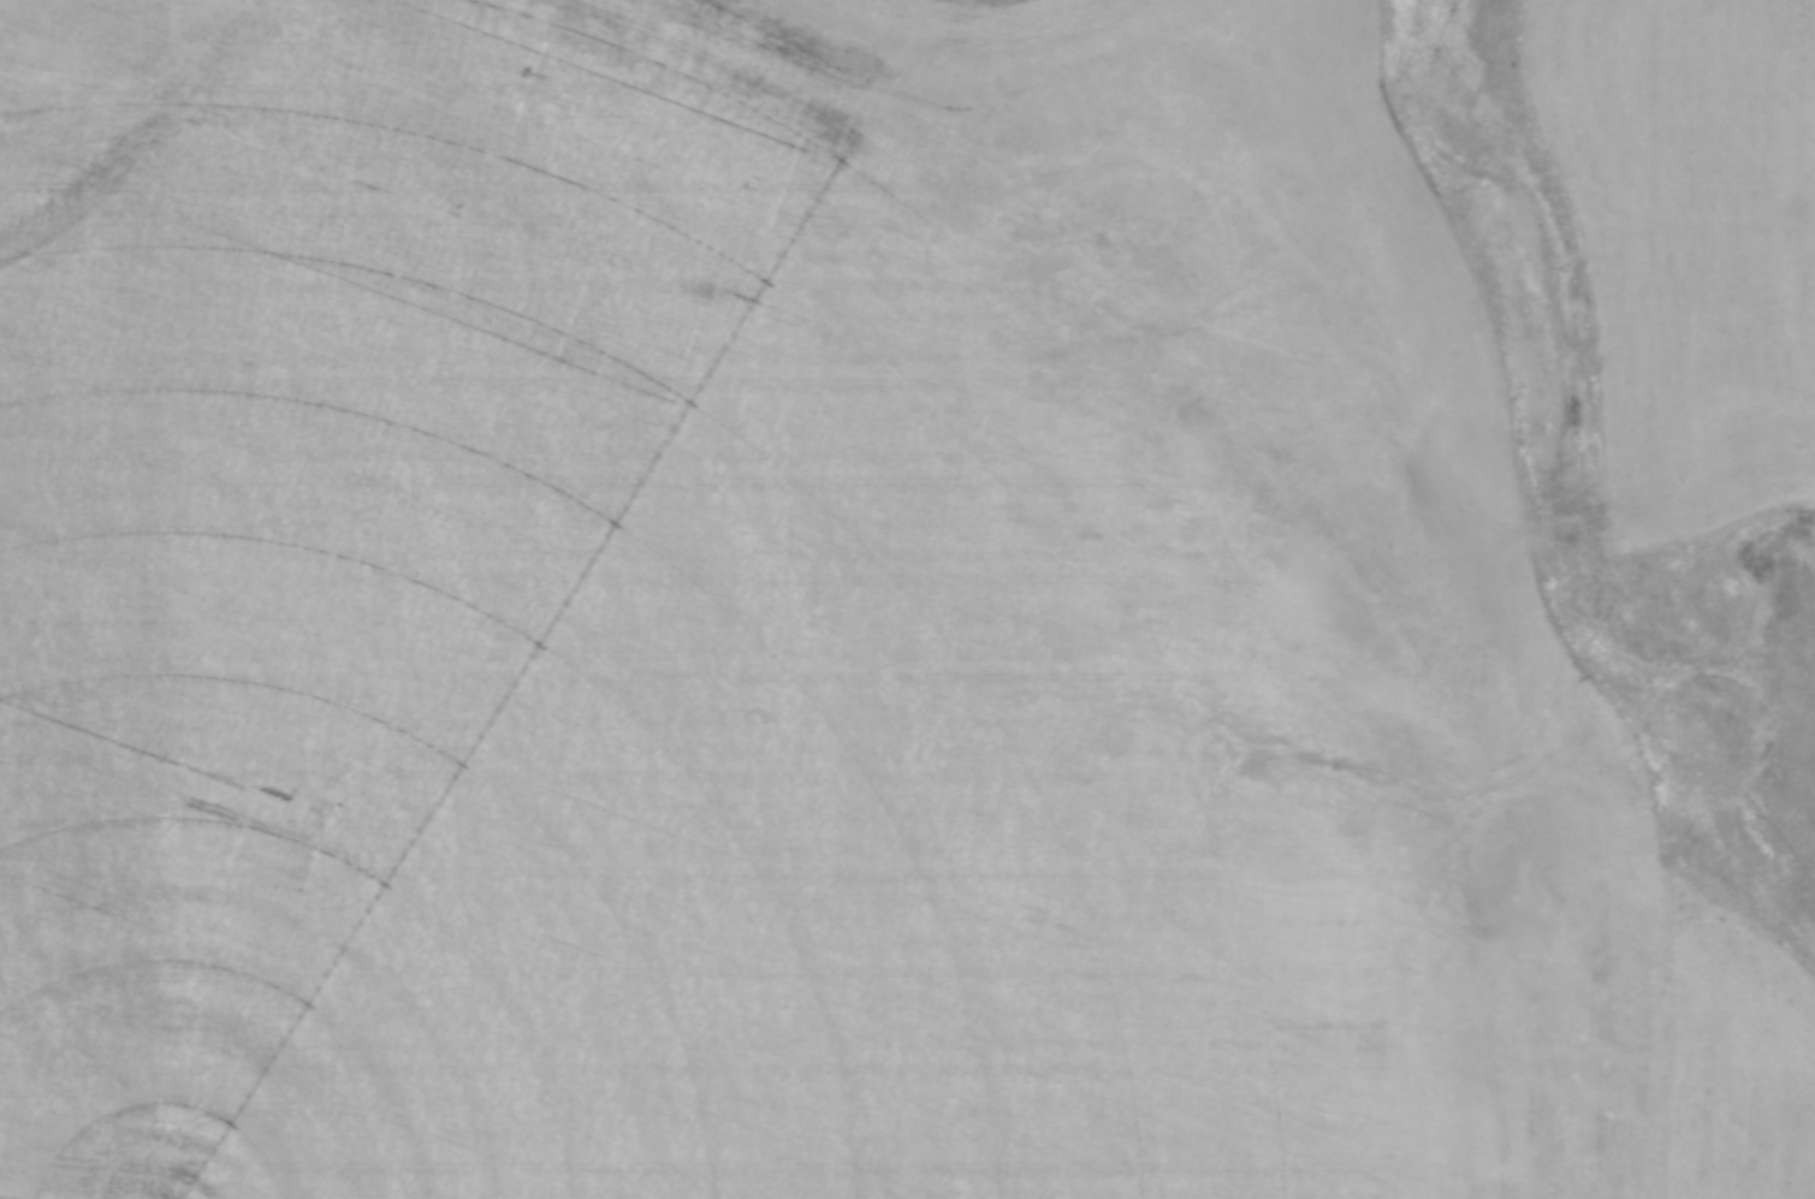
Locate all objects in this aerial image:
crop: (778, 621)

